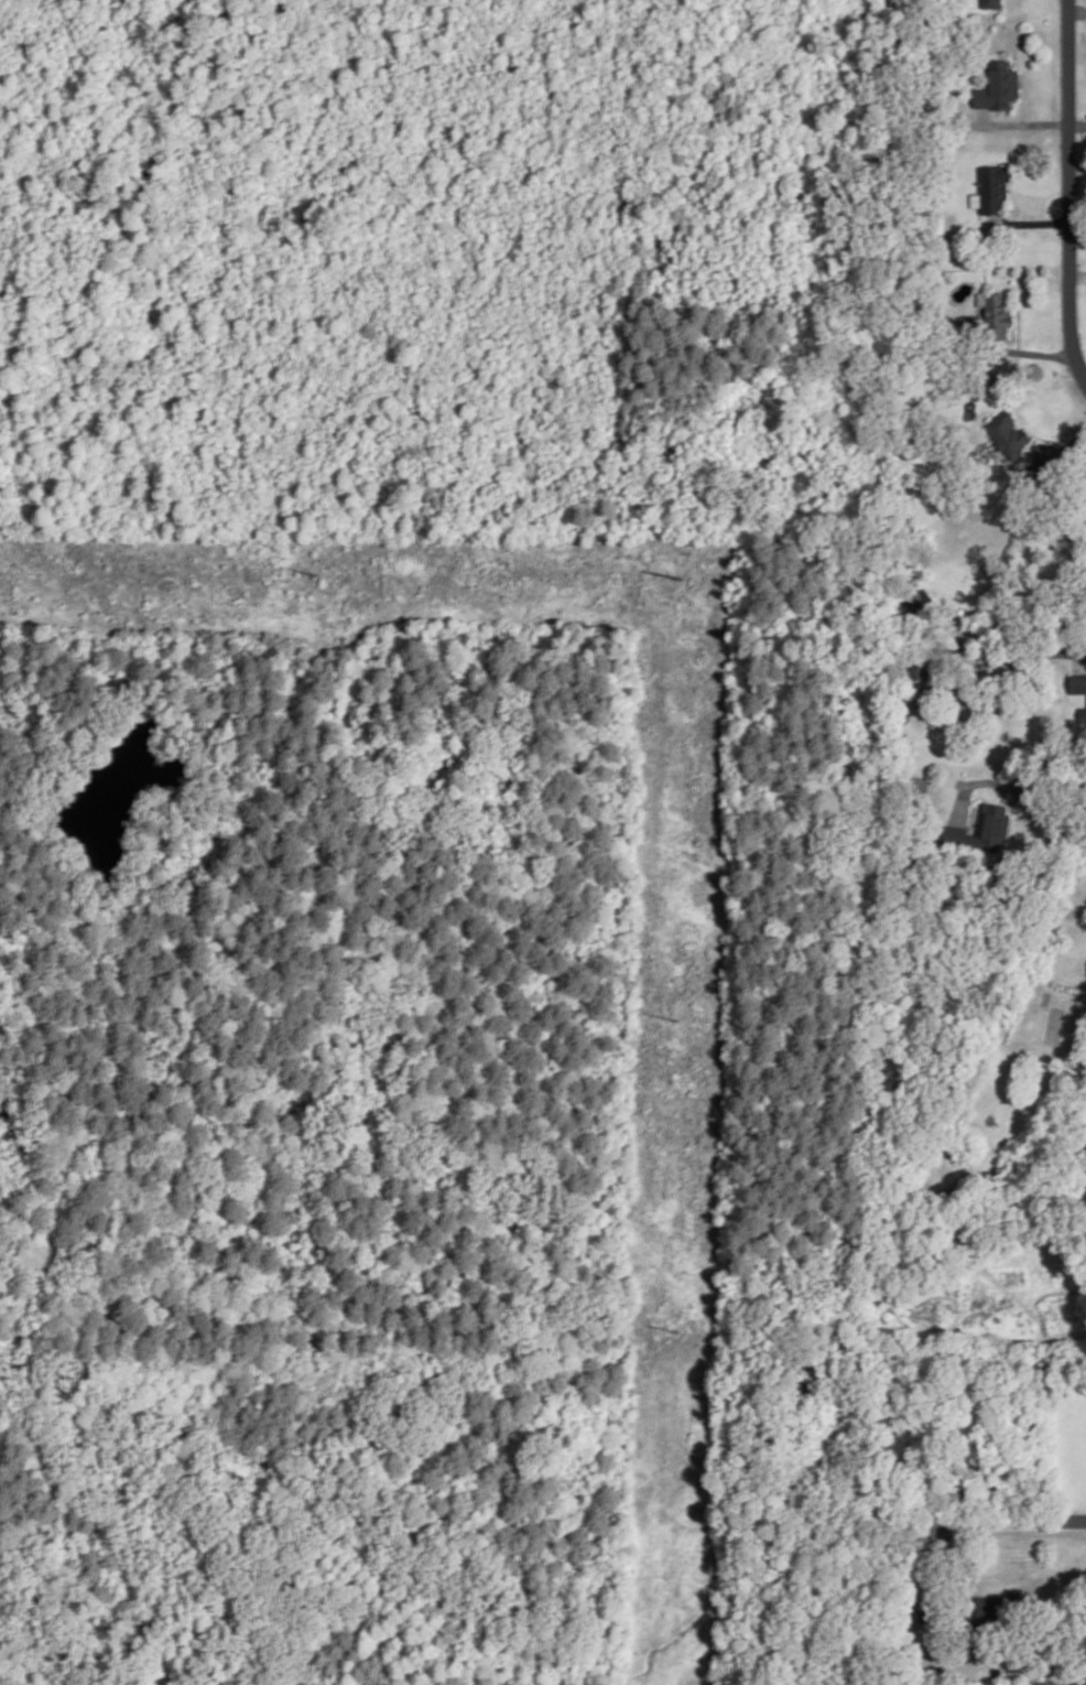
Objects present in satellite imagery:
building: (992, 2)
road: (1076, 10)
building: (1001, 85)
road: (1023, 100)
road: (1020, 121)
road: (1077, 125)
building: (995, 185)
road: (1069, 191)
road: (1031, 222)
road: (1078, 276)
building: (995, 313)
road: (1038, 352)
building: (1010, 431)
road: (1076, 440)
building: (1045, 454)
road: (1079, 654)
building: (1078, 682)
building: (1084, 713)
road: (1009, 780)
road: (1013, 789)
building: (982, 828)
road: (1006, 1520)
road: (955, 1574)

